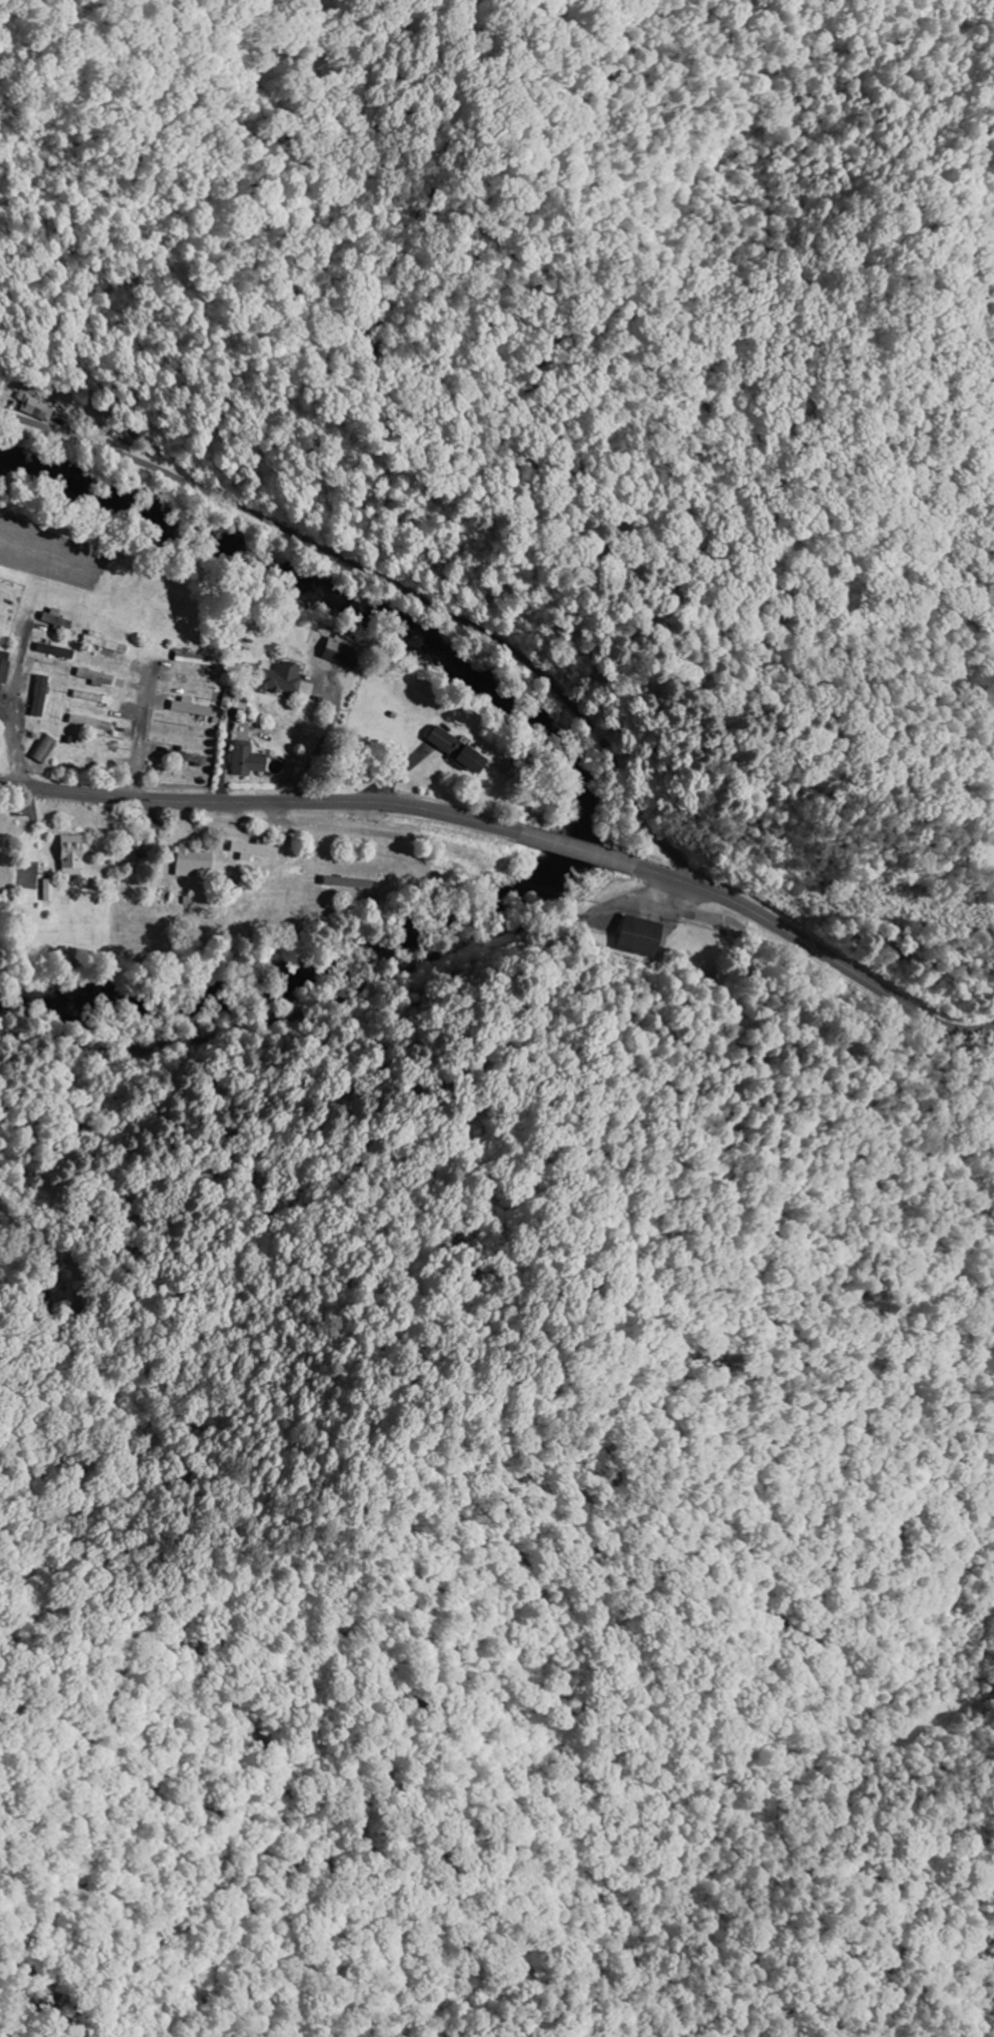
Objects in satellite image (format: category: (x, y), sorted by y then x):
building: (38, 407)
road: (399, 583)
building: (103, 644)
building: (341, 653)
building: (3, 665)
building: (93, 677)
building: (281, 678)
building: (39, 696)
building: (189, 707)
road: (14, 711)
building: (88, 723)
road: (141, 733)
building: (455, 750)
building: (246, 761)
river: (587, 779)
road: (260, 800)
road: (576, 848)
building: (253, 850)
building: (71, 855)
building: (191, 861)
building: (48, 890)
building: (640, 936)
road: (817, 945)
road: (989, 1046)
road: (445, 1182)
road: (925, 1753)

